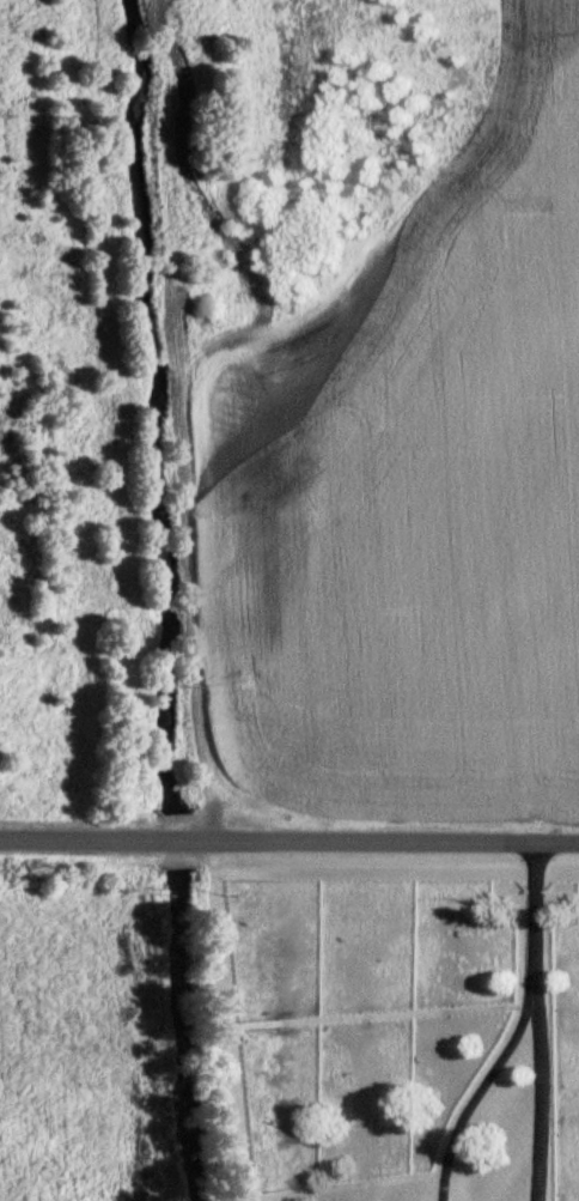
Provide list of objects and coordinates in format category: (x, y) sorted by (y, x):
road: (71, 841)
road: (171, 842)
road: (389, 845)
road: (537, 1024)
road: (475, 1093)

